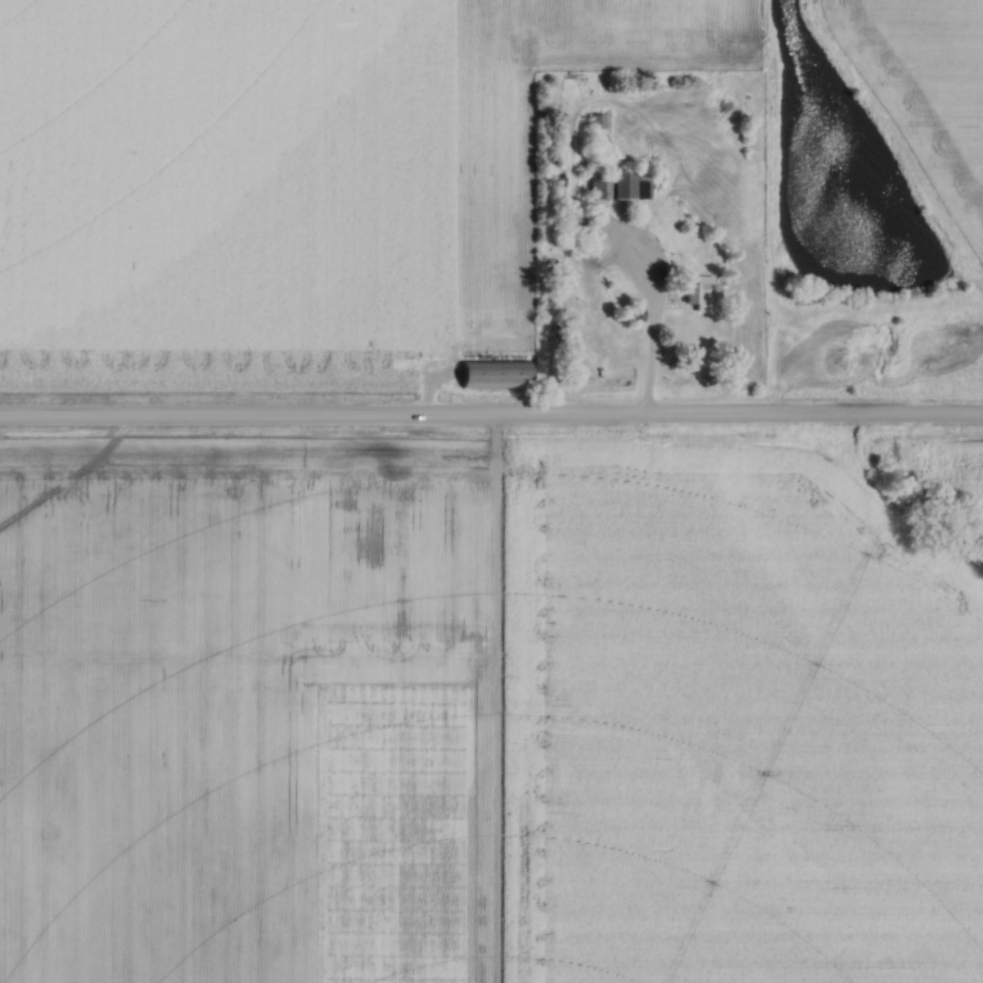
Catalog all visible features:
building: (597, 122)
building: (618, 188)
building: (701, 293)
building: (635, 315)
road: (650, 355)
building: (496, 374)
road: (491, 417)

